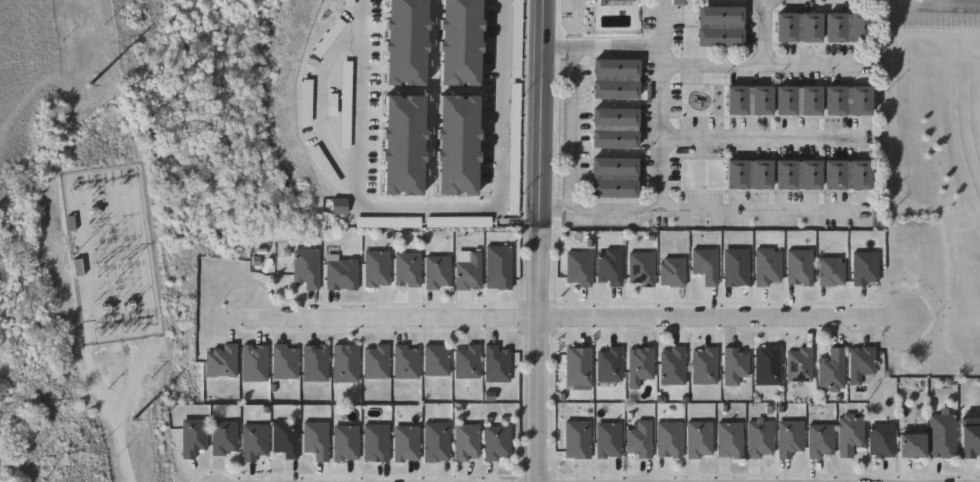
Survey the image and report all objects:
road: (901, 2)
road: (942, 5)
power tower: (79, 15)
parking lot: (938, 19)
building: (718, 25)
building: (796, 26)
building: (845, 26)
road: (760, 31)
road: (623, 49)
road: (762, 66)
building: (613, 77)
building: (747, 100)
building: (796, 100)
building: (845, 100)
road: (357, 107)
building: (613, 127)
road: (659, 129)
road: (570, 130)
road: (762, 135)
park: (936, 155)
building: (746, 173)
building: (796, 174)
building: (845, 174)
building: (612, 176)
road: (413, 208)
road: (701, 210)
road: (537, 240)
power substation: (112, 257)
building: (703, 264)
building: (496, 266)
building: (607, 266)
building: (734, 266)
building: (765, 266)
building: (797, 267)
building: (375, 268)
building: (576, 268)
building: (639, 268)
building: (863, 268)
building: (304, 269)
building: (405, 269)
building: (466, 270)
building: (670, 271)
building: (828, 271)
building: (436, 272)
building: (340, 273)
road: (387, 316)
road: (720, 316)
building: (434, 359)
road: (92, 360)
building: (219, 360)
building: (282, 360)
building: (374, 360)
building: (313, 361)
building: (404, 361)
building: (465, 361)
building: (860, 361)
building: (252, 362)
building: (344, 362)
building: (495, 362)
building: (607, 363)
building: (797, 363)
building: (670, 364)
building: (733, 364)
building: (765, 364)
building: (638, 365)
building: (702, 365)
building: (576, 368)
building: (829, 370)
building: (849, 432)
building: (940, 432)
building: (191, 436)
building: (787, 436)
building: (758, 437)
building: (969, 437)
power tower: (139, 438)
building: (222, 438)
building: (284, 438)
building: (314, 439)
building: (575, 439)
building: (606, 439)
building: (637, 439)
building: (667, 439)
building: (728, 439)
building: (251, 440)
building: (697, 440)
building: (819, 440)
building: (879, 440)
building: (435, 441)
building: (465, 441)
building: (344, 442)
building: (374, 442)
building: (495, 442)
building: (404, 443)
building: (909, 445)

